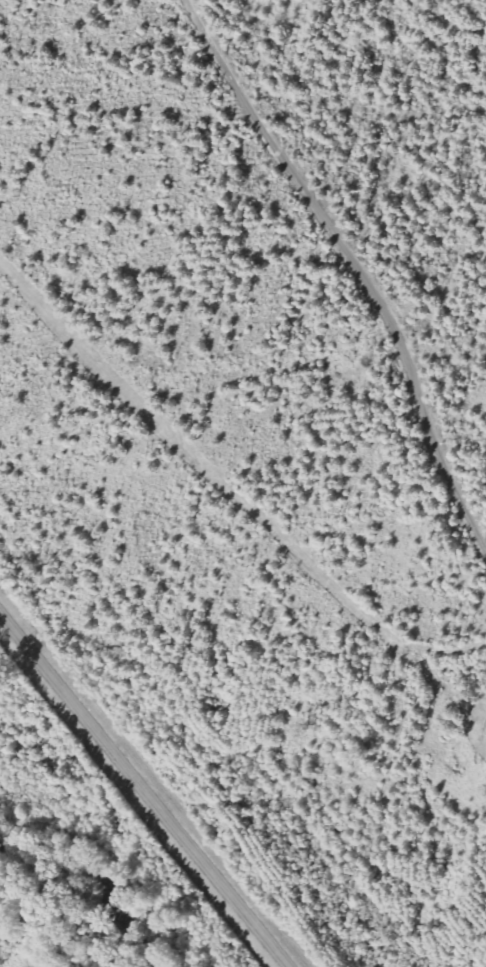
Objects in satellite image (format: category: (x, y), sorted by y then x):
road: (354, 264)
road: (144, 791)

